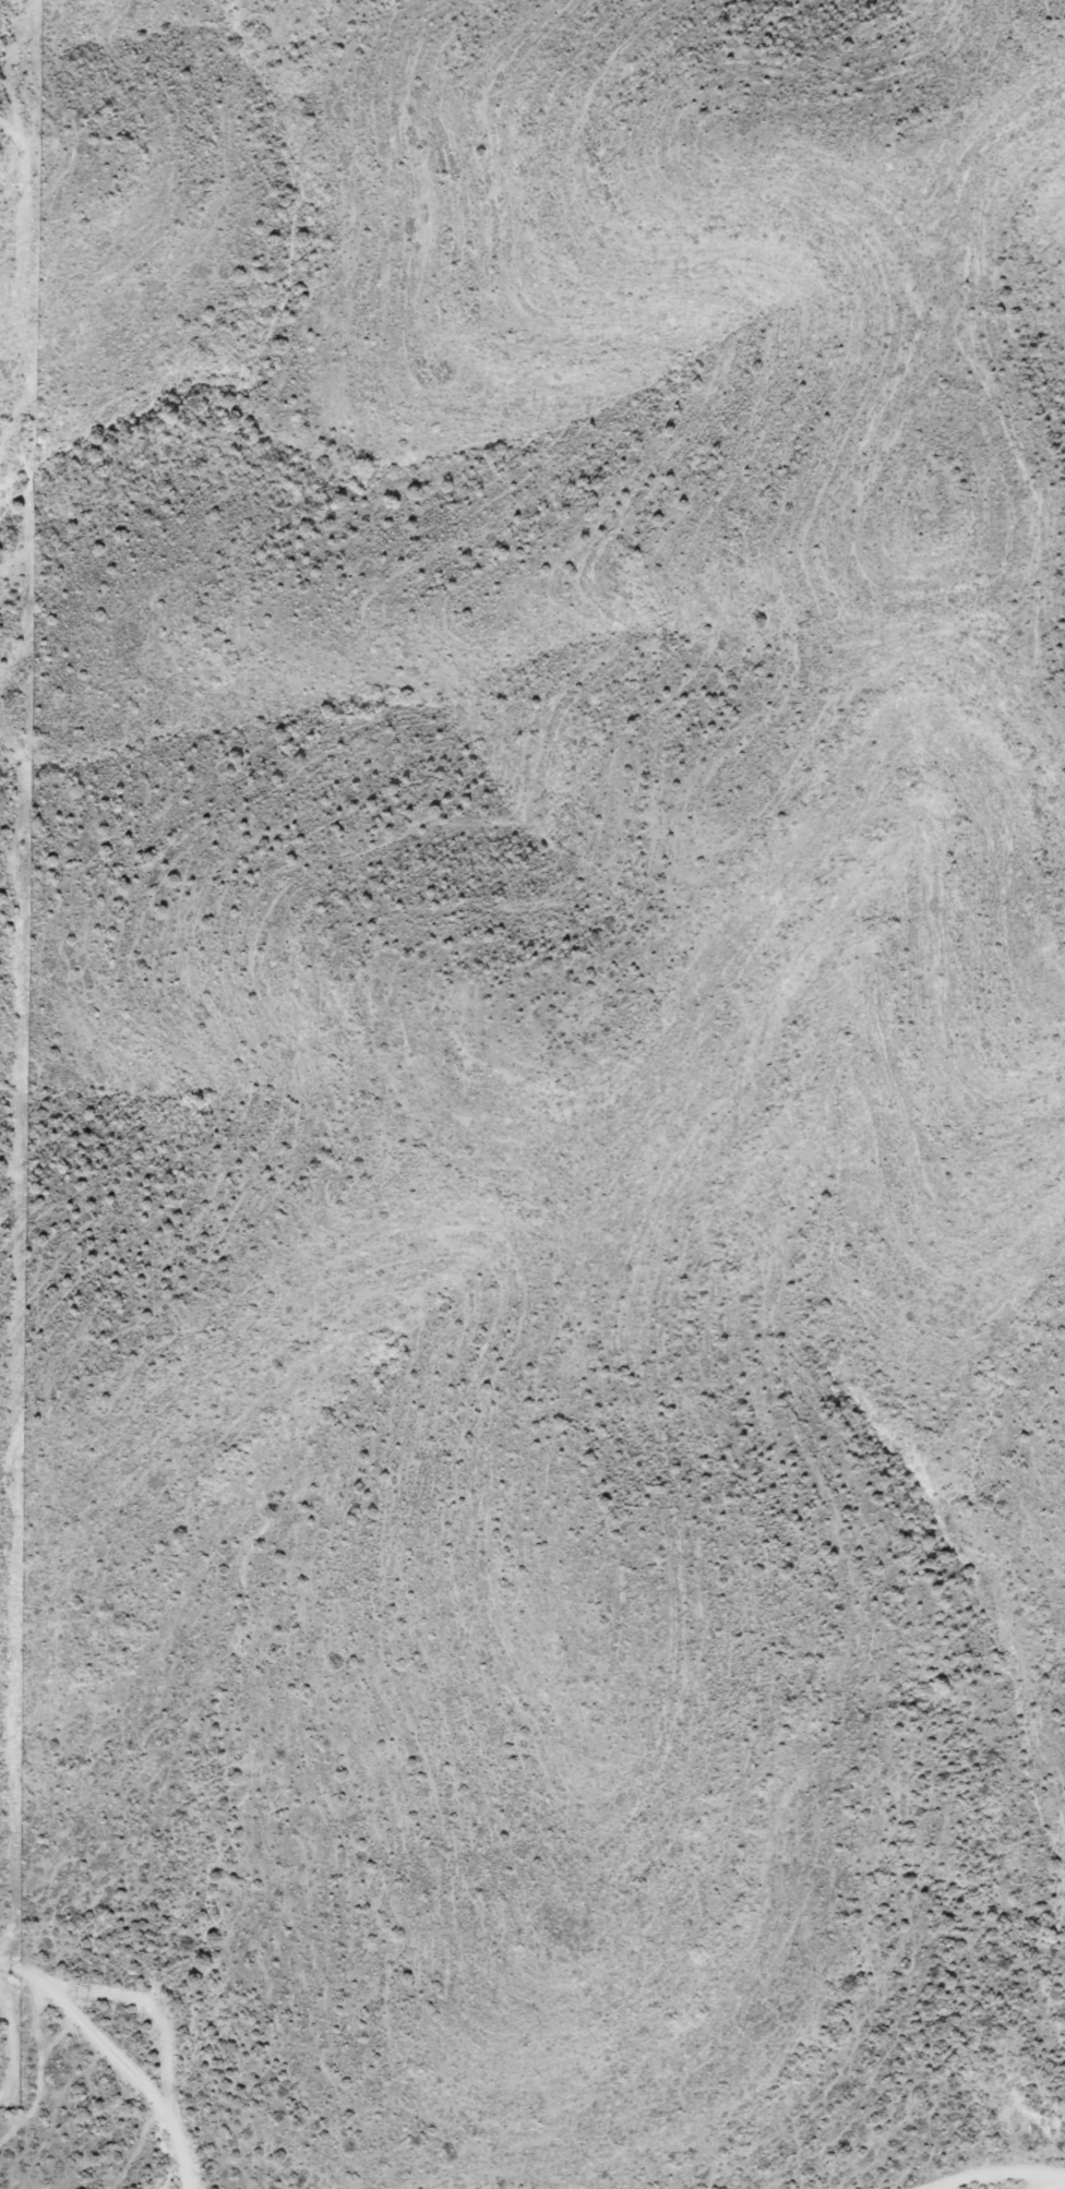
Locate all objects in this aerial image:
road: (118, 2056)
road: (986, 2169)

